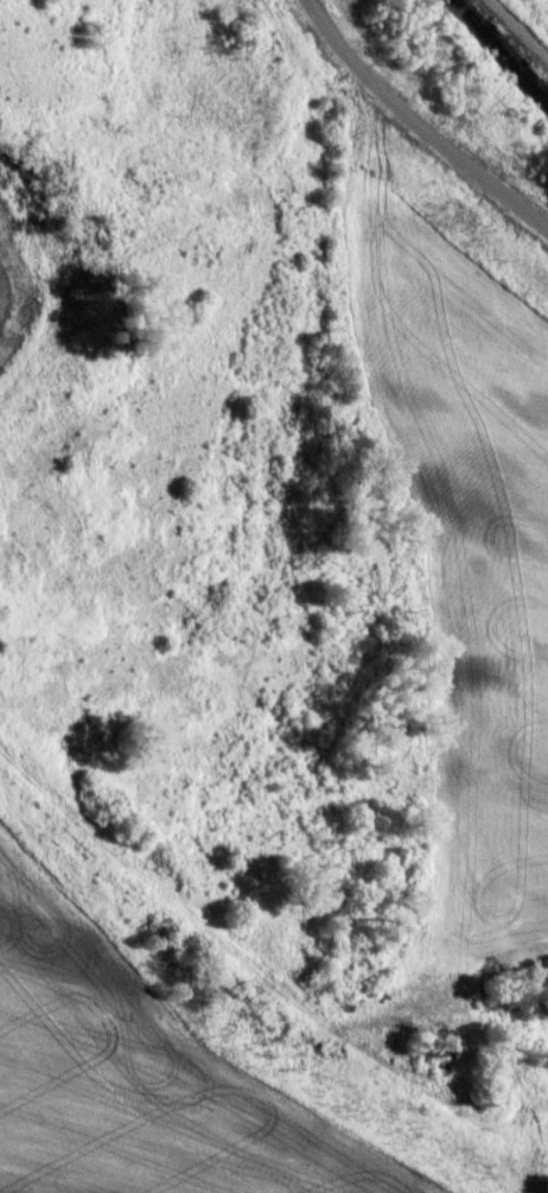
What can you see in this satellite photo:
road: (518, 31)
road: (415, 127)

